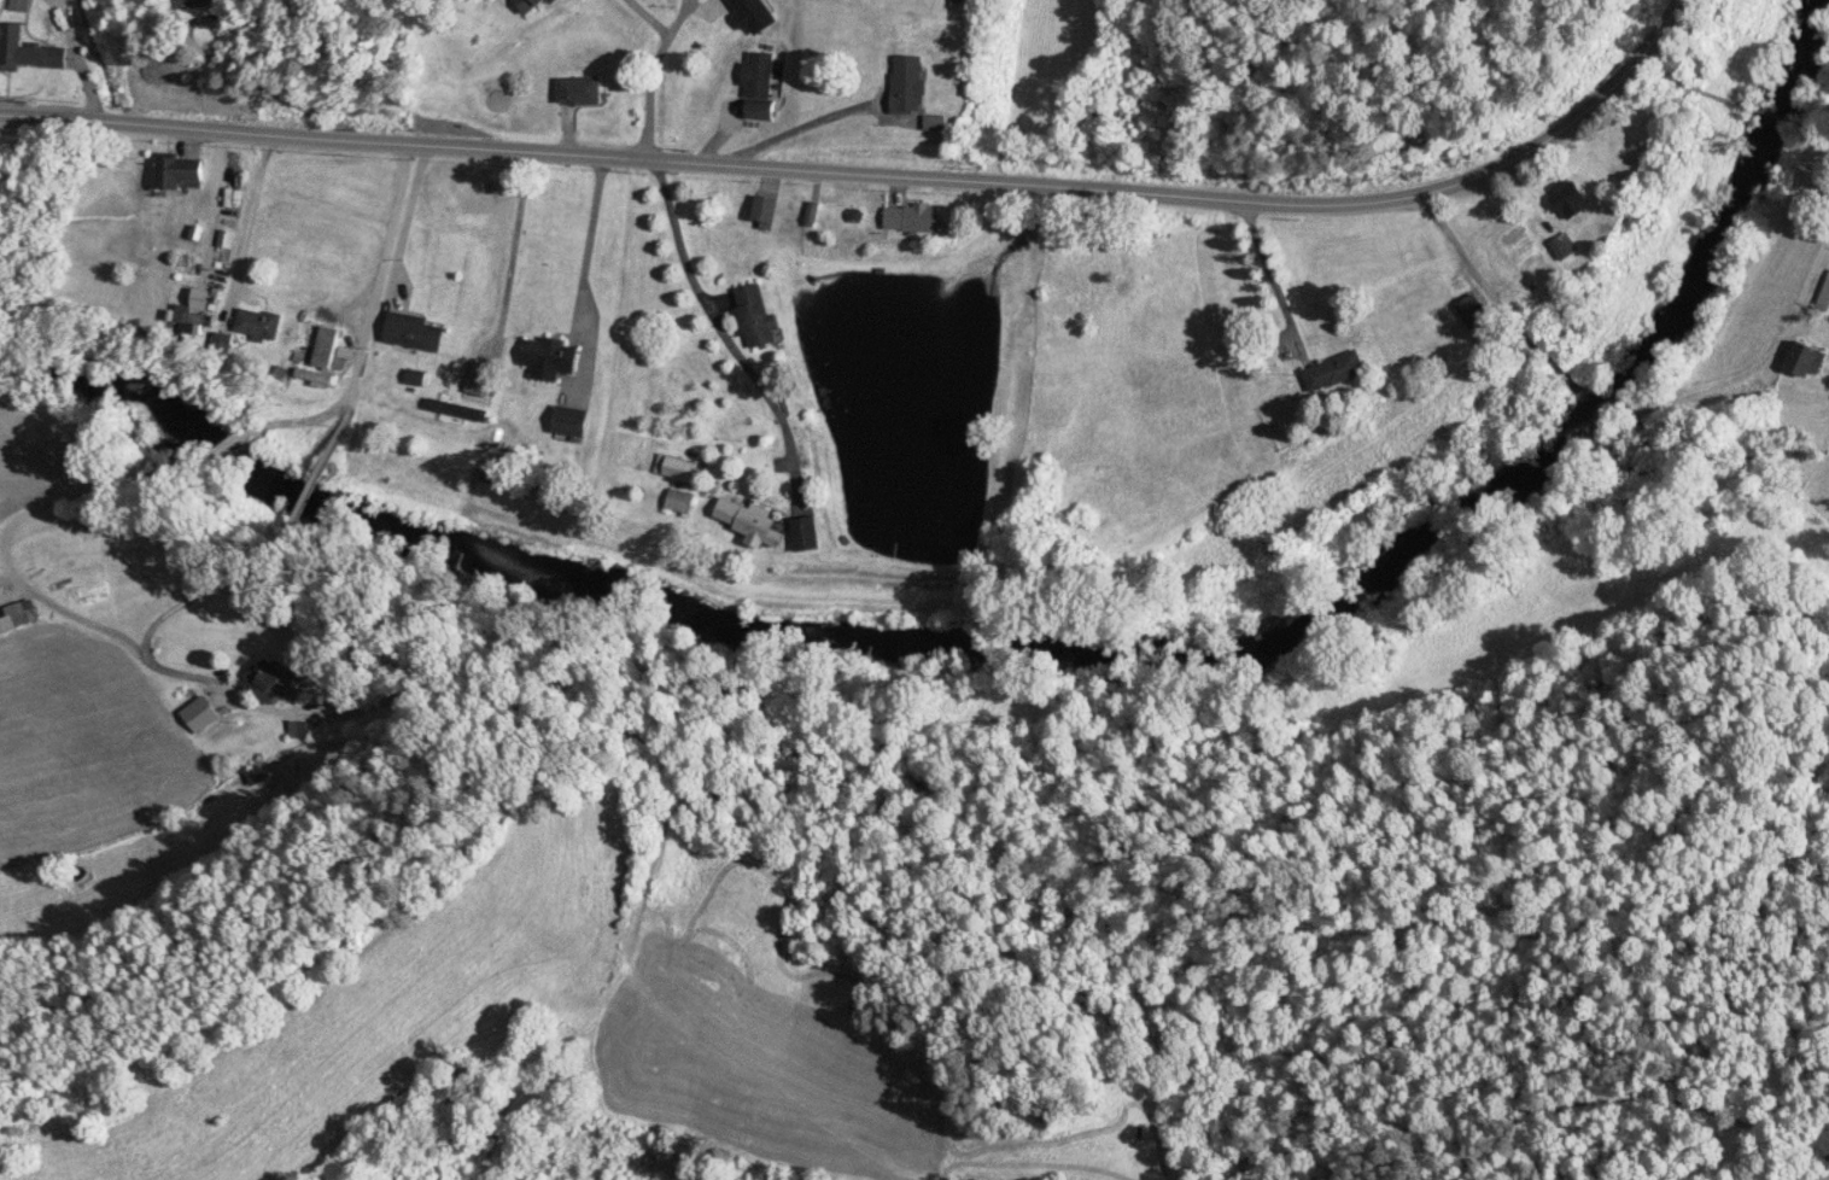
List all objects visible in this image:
building: (19, 5)
building: (198, 5)
building: (534, 6)
building: (754, 16)
road: (643, 19)
building: (25, 52)
building: (1673, 66)
road: (655, 72)
building: (756, 76)
building: (911, 86)
building: (582, 92)
building: (761, 113)
building: (180, 174)
road: (875, 177)
building: (1571, 200)
building: (766, 210)
building: (916, 218)
building: (1565, 247)
building: (1824, 299)
building: (756, 316)
building: (1478, 319)
building: (189, 321)
road: (729, 322)
building: (257, 323)
building: (414, 332)
building: (323, 347)
building: (550, 358)
building: (1334, 372)
road: (1578, 402)
building: (571, 420)
building: (680, 502)
building: (762, 527)
building: (13, 618)
river: (1030, 641)
building: (268, 682)
building: (199, 714)

